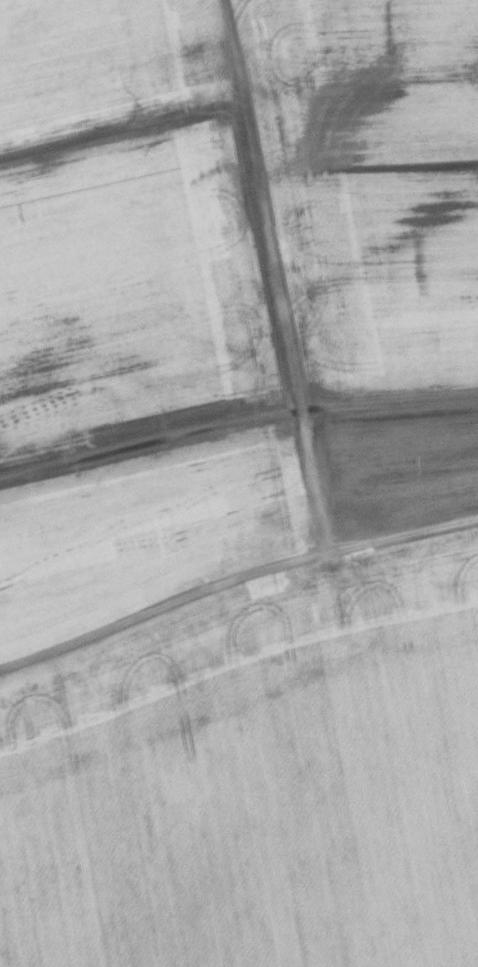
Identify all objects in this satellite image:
crop: (119, 236)
road: (273, 273)
road: (235, 579)

